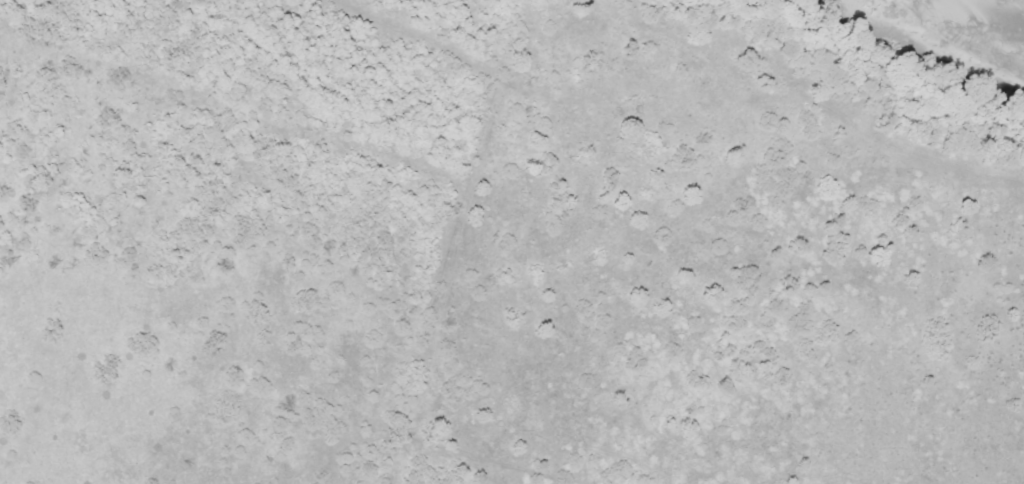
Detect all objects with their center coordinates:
road: (490, 154)
road: (433, 319)

